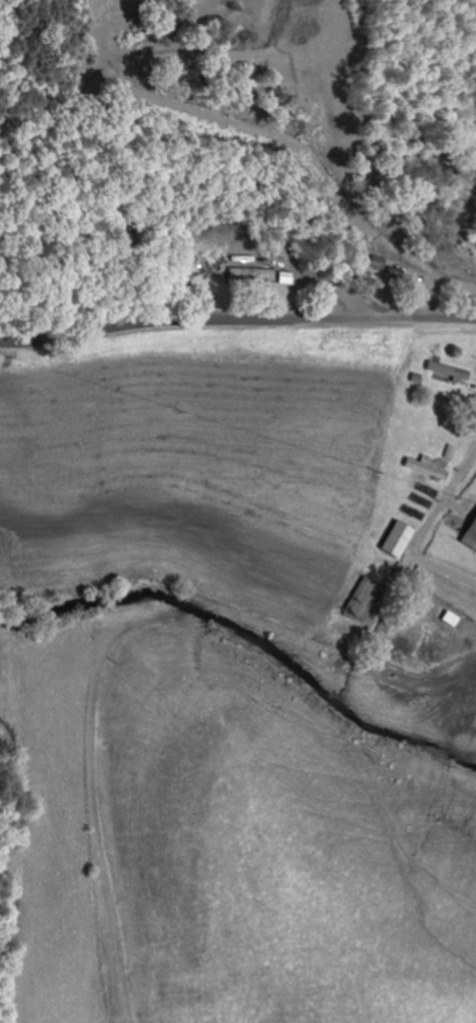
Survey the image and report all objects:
building: (397, 273)
building: (248, 276)
road: (237, 319)
building: (424, 471)
building: (469, 535)
building: (394, 541)
building: (362, 601)
road: (315, 675)

